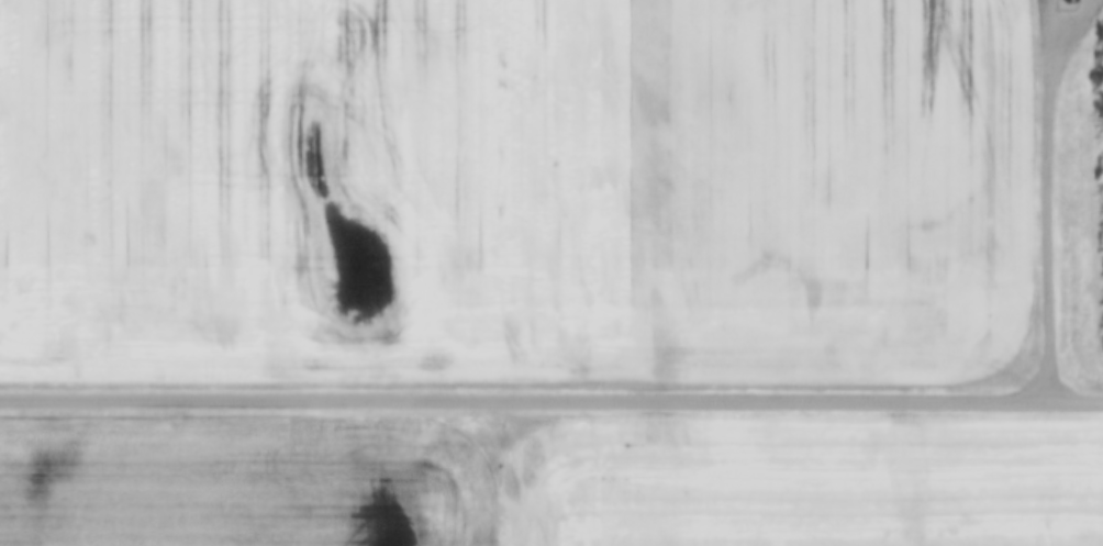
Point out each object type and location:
road: (1051, 34)
road: (1070, 35)
road: (1048, 232)
road: (550, 393)

